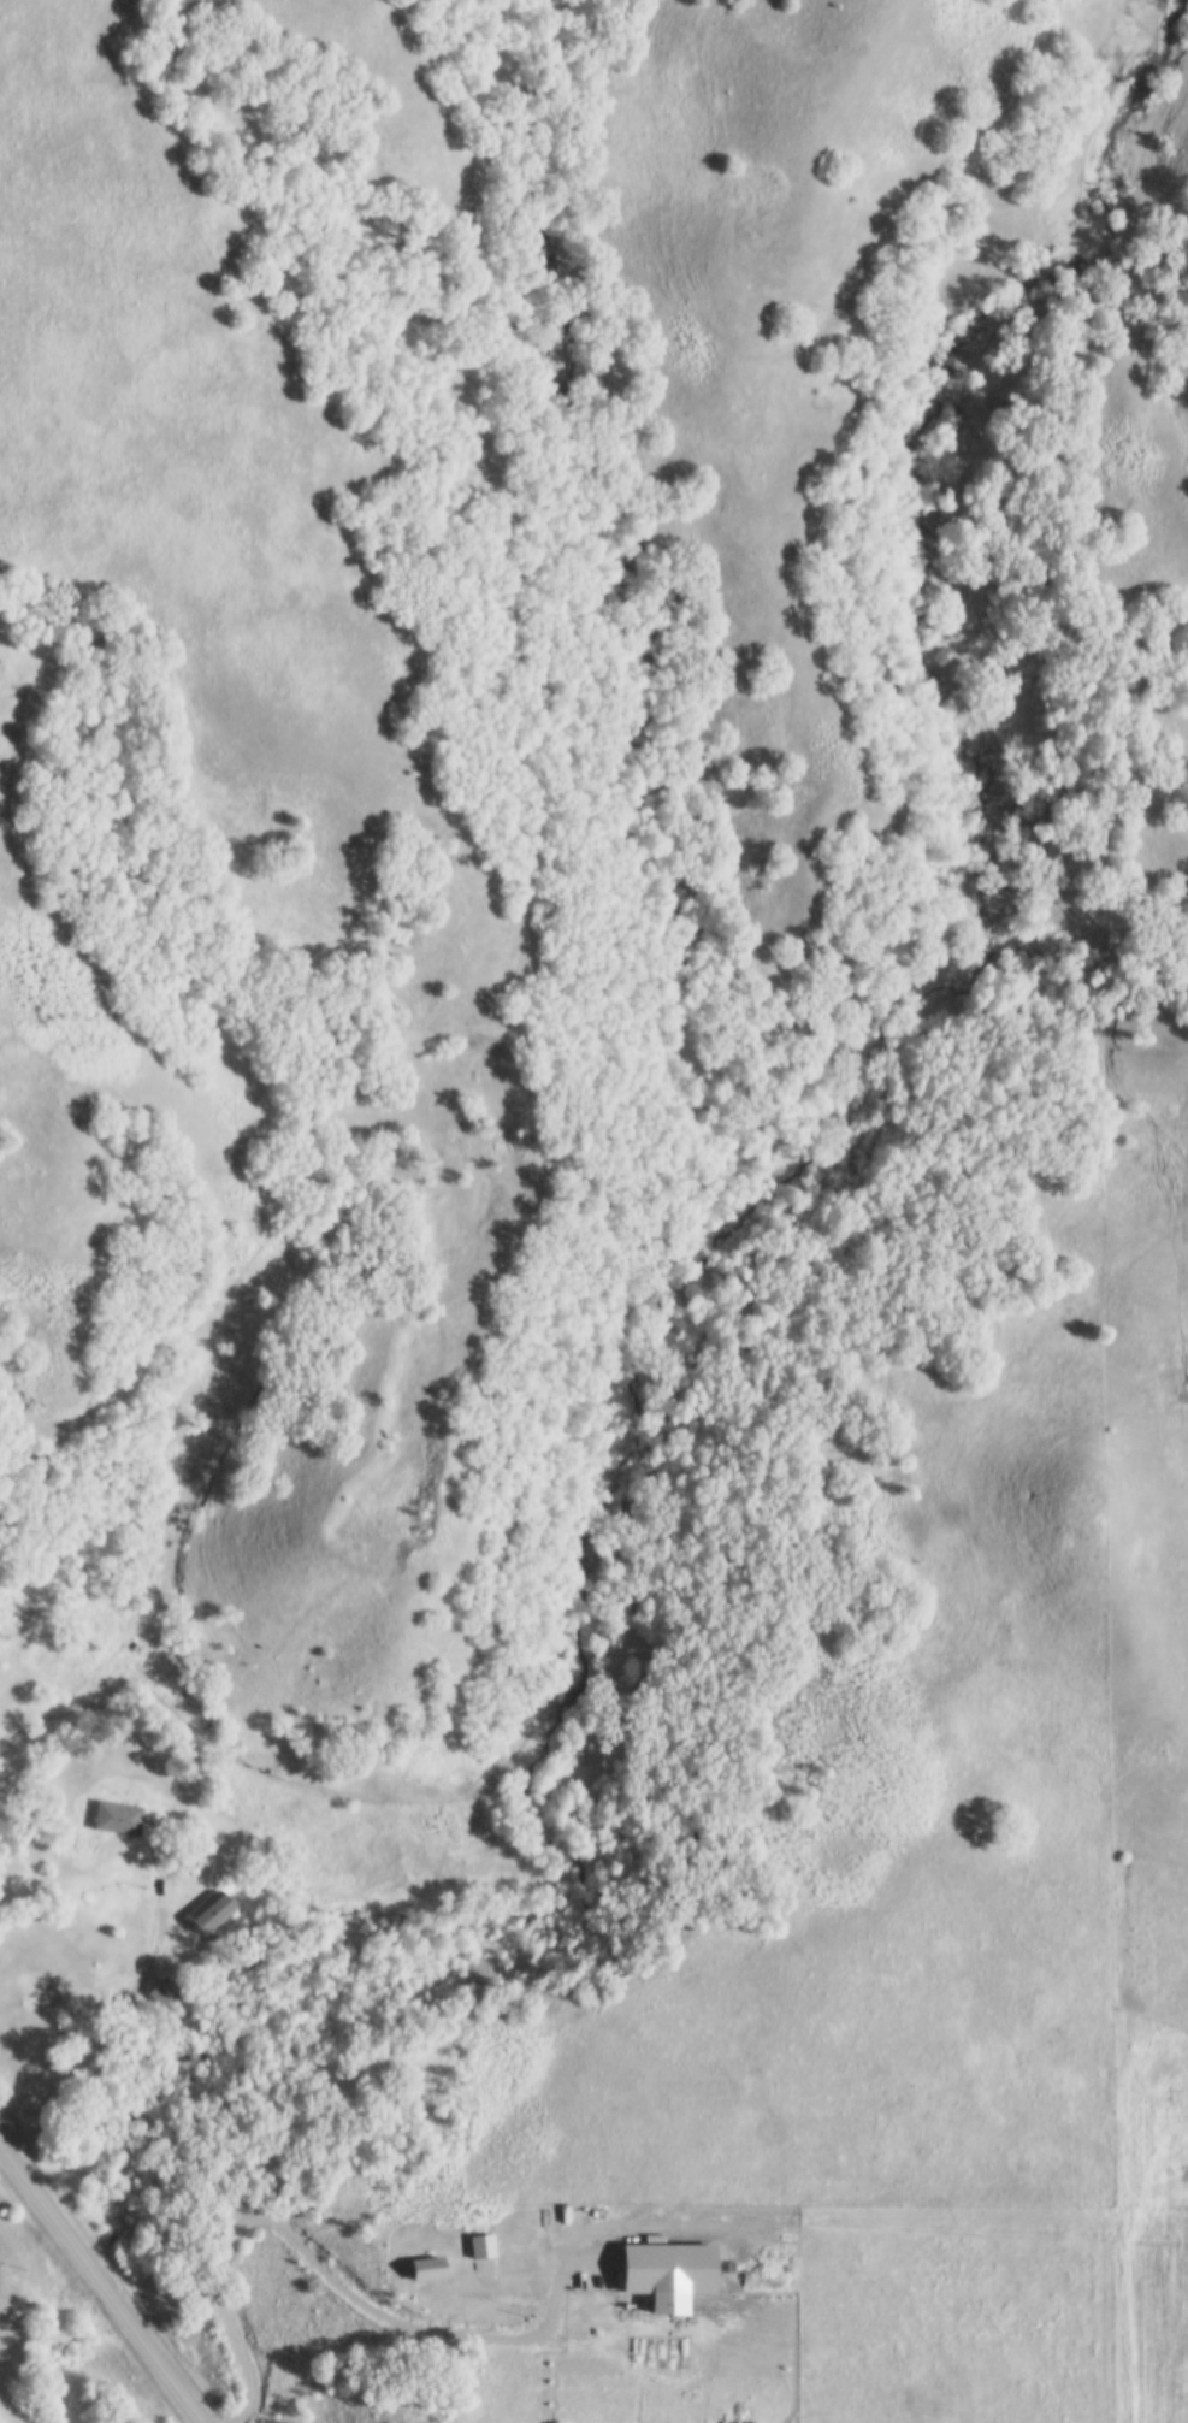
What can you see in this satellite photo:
building: (117, 1818)
building: (214, 1913)
road: (104, 2038)
road: (318, 2262)
road: (100, 2283)

